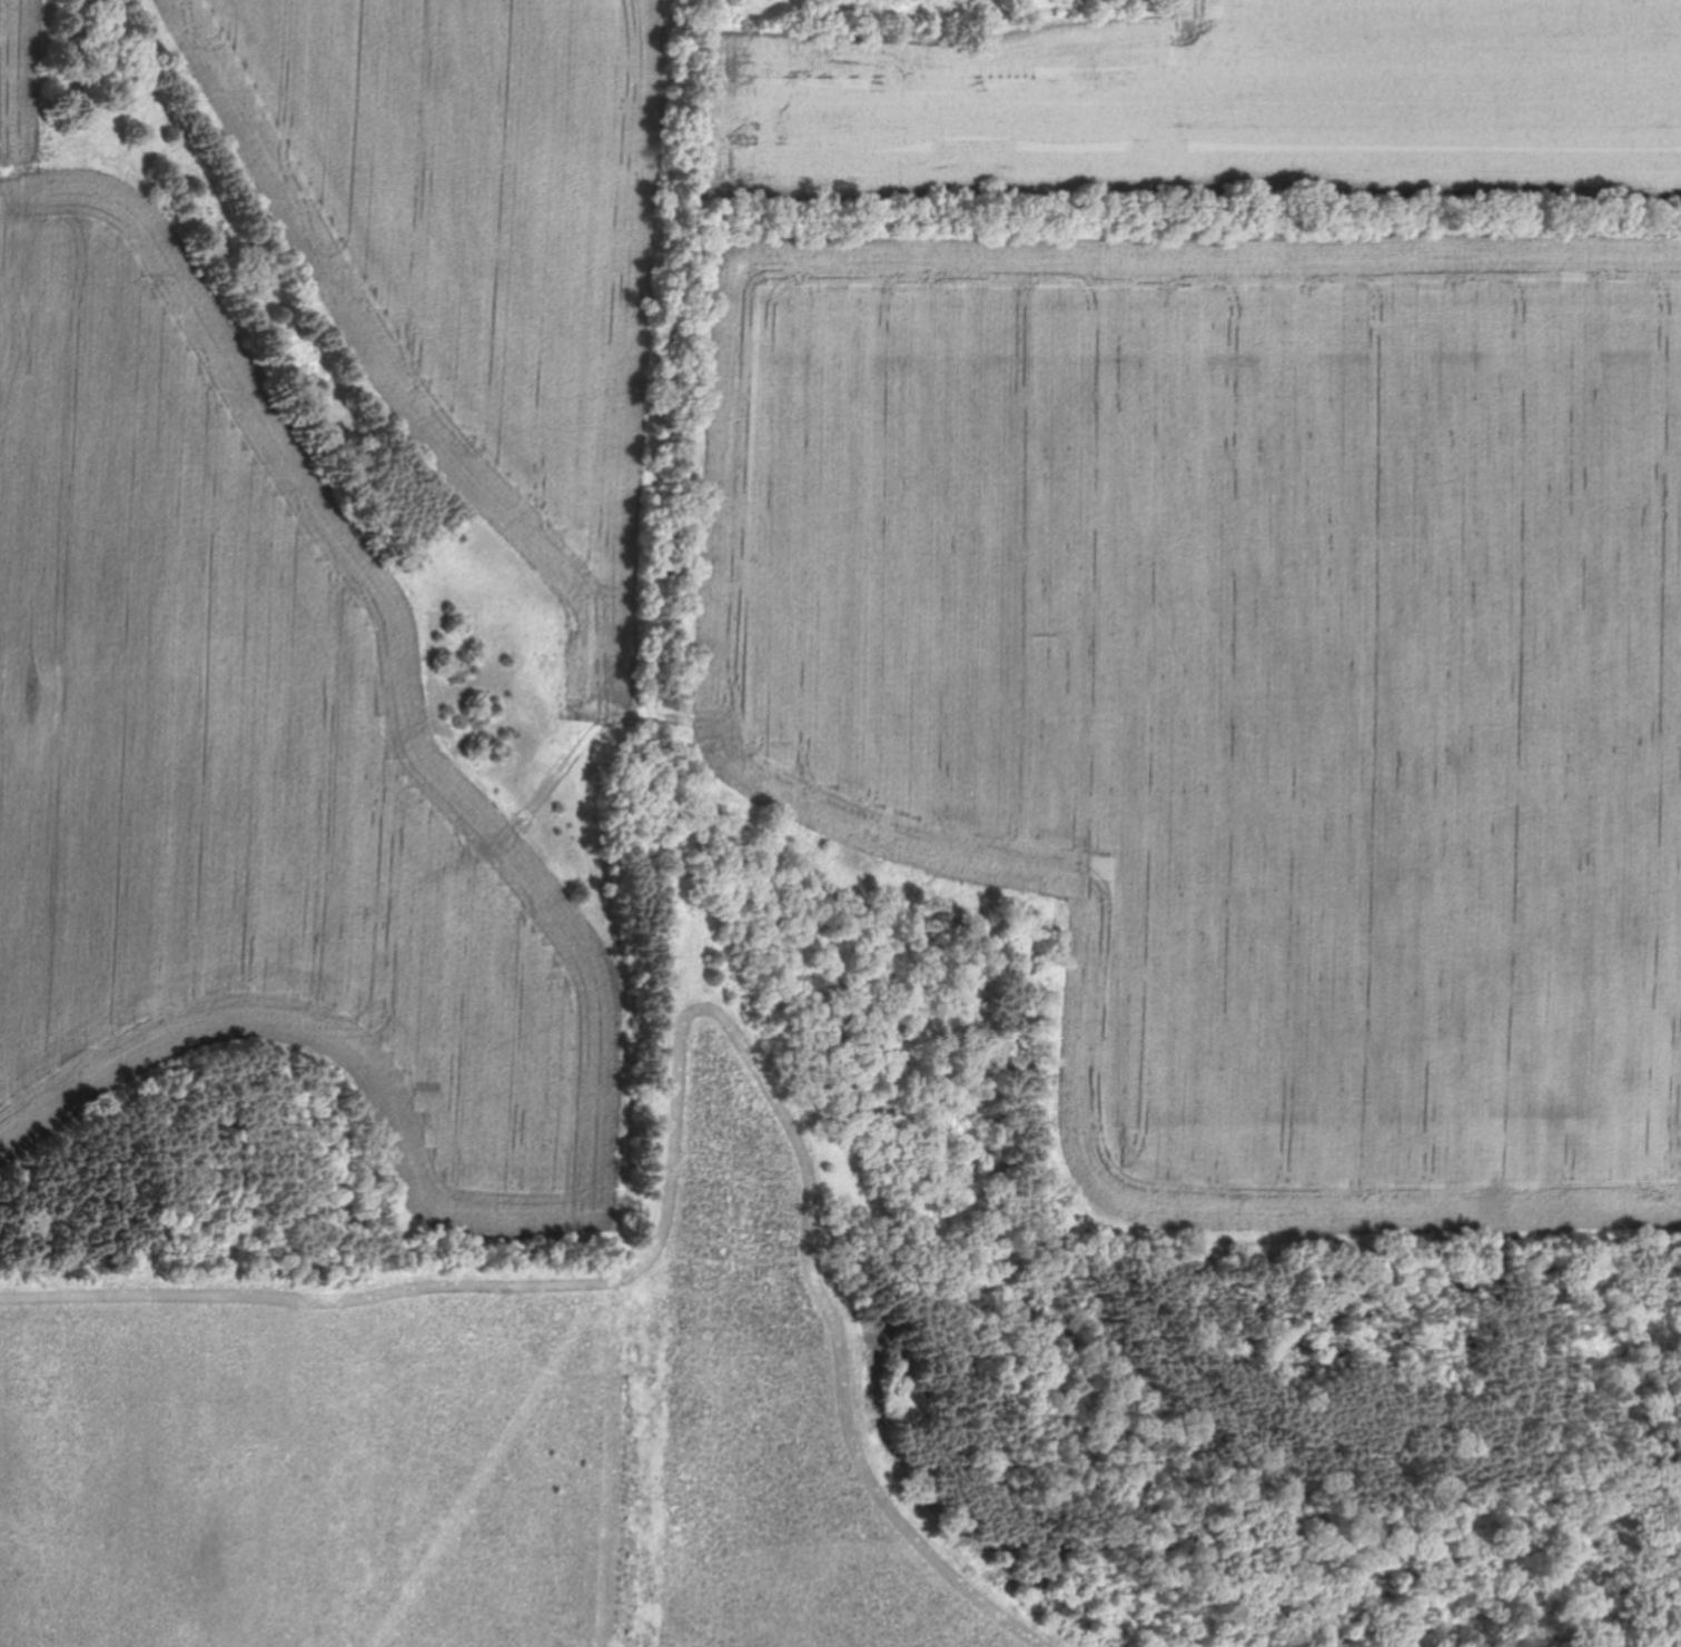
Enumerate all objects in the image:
park: (840, 823)

